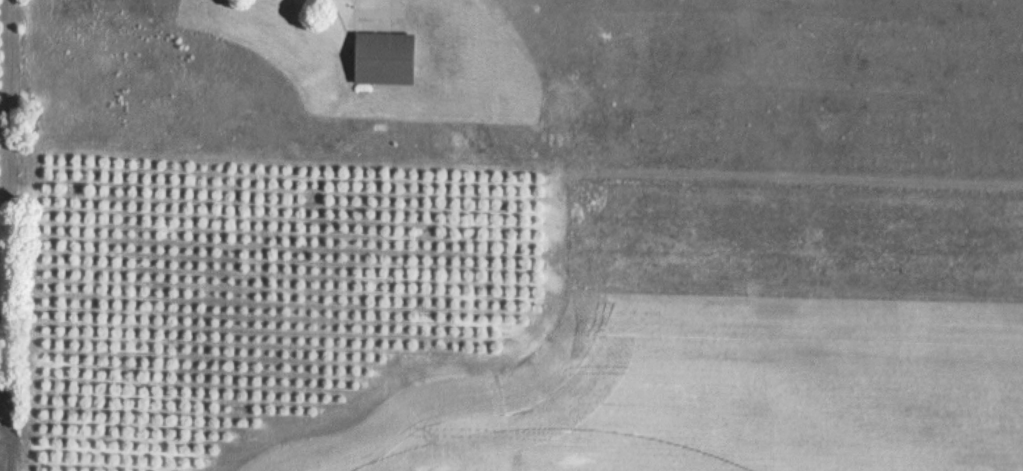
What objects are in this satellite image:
building: (379, 59)

